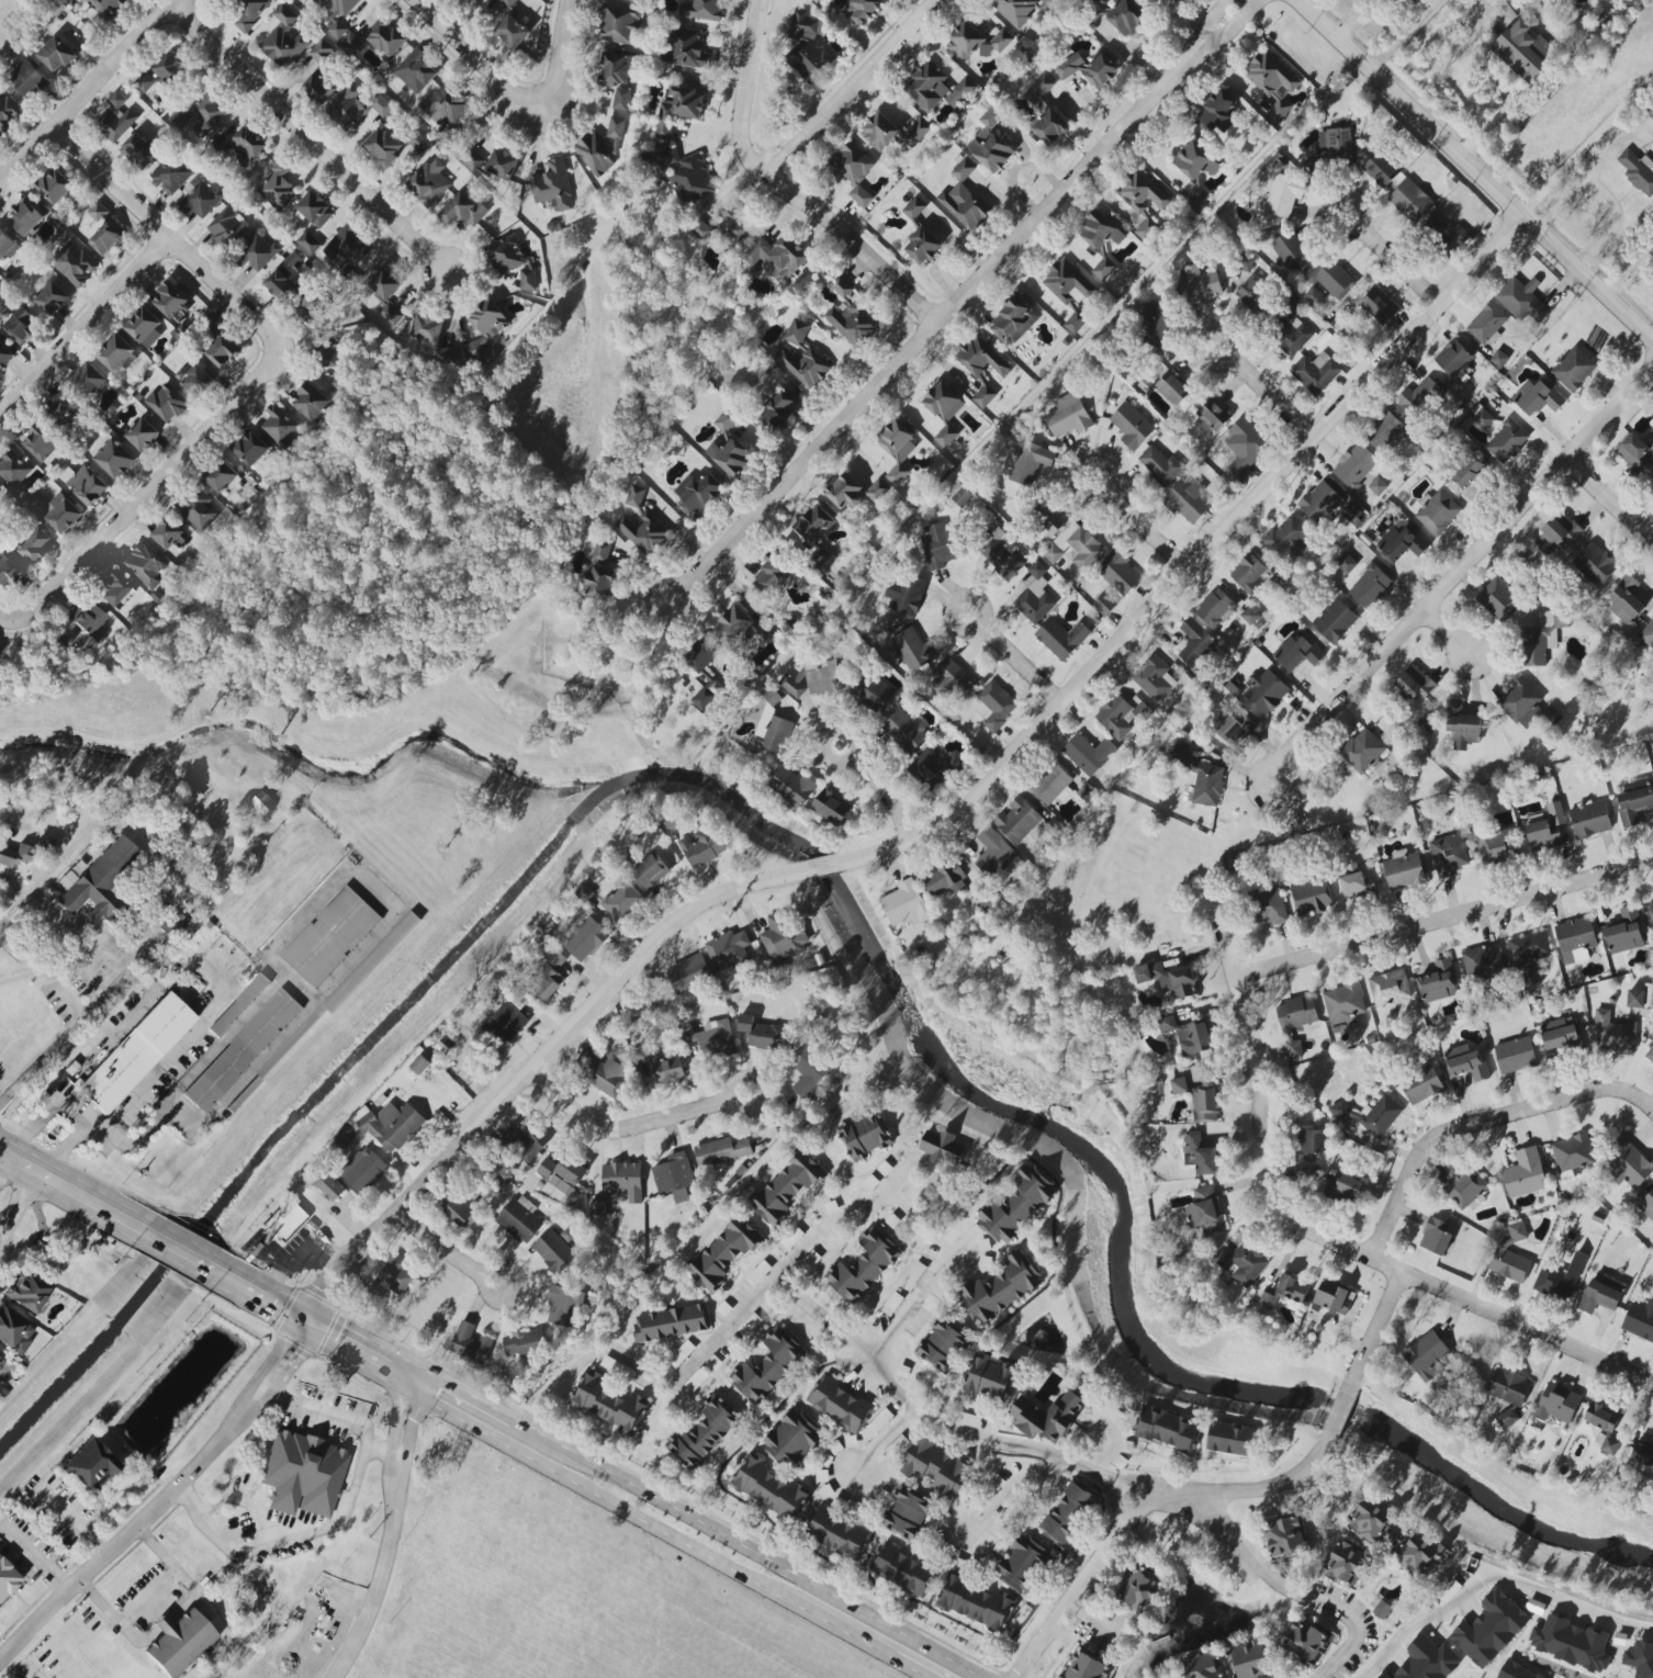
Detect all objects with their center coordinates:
building: (1173, 0)
building: (507, 3)
building: (106, 5)
building: (1021, 9)
building: (1507, 9)
building: (701, 10)
building: (862, 10)
building: (248, 13)
building: (335, 13)
building: (1125, 16)
road: (1351, 20)
building: (617, 25)
building: (511, 32)
building: (284, 37)
building: (386, 38)
building: (975, 42)
building: (351, 43)
building: (808, 46)
building: (687, 49)
building: (1522, 50)
building: (322, 53)
building: (56, 54)
road: (471, 59)
road: (566, 67)
building: (1066, 67)
building: (1100, 70)
building: (415, 71)
building: (160, 74)
building: (616, 76)
building: (26, 79)
building: (1271, 82)
building: (318, 87)
building: (926, 87)
building: (963, 89)
building: (1037, 89)
road: (853, 90)
road: (94, 98)
building: (446, 104)
building: (356, 108)
building: (677, 110)
building: (8, 111)
building: (1216, 113)
building: (203, 114)
building: (1651, 115)
building: (115, 117)
building: (1049, 127)
building: (879, 132)
building: (914, 133)
road: (312, 138)
building: (417, 140)
building: (989, 143)
building: (247, 145)
building: (382, 146)
road: (1586, 146)
building: (598, 149)
building: (1329, 149)
building: (138, 151)
building: (1195, 161)
building: (501, 166)
building: (1380, 170)
building: (852, 171)
road: (1472, 171)
building: (1638, 171)
building: (678, 174)
building: (169, 176)
building: (427, 184)
building: (277, 187)
building: (55, 188)
road: (778, 190)
road: (1605, 193)
building: (1283, 194)
building: (201, 200)
building: (965, 200)
building: (1143, 201)
building: (1410, 201)
building: (315, 209)
building: (913, 209)
building: (464, 210)
building: (25, 216)
road: (1363, 218)
building: (1432, 226)
building: (225, 227)
building: (726, 227)
building: (103, 230)
road: (168, 234)
building: (1455, 238)
building: (1101, 241)
building: (307, 243)
building: (7, 246)
building: (348, 246)
building: (922, 246)
building: (256, 251)
building: (1291, 252)
building: (774, 257)
building: (511, 262)
building: (74, 263)
road: (1399, 266)
road: (1628, 269)
building: (286, 278)
building: (1331, 279)
building: (1068, 283)
building: (383, 285)
building: (1199, 285)
building: (841, 286)
building: (1253, 295)
building: (1313, 296)
building: (52, 299)
building: (1521, 300)
building: (171, 301)
road: (955, 302)
building: (1377, 306)
building: (311, 307)
building: (390, 315)
building: (1013, 320)
building: (1075, 322)
building: (1487, 323)
building: (851, 324)
building: (20, 326)
building: (485, 326)
building: (1154, 326)
building: (143, 327)
road: (87, 328)
building: (1292, 337)
building: (430, 340)
road: (1235, 340)
building: (223, 351)
building: (4, 353)
building: (116, 354)
building: (798, 356)
building: (1451, 357)
building: (1498, 359)
building: (981, 367)
building: (1573, 370)
building: (331, 371)
building: (1315, 373)
building: (88, 380)
building: (196, 381)
building: (1172, 388)
building: (1418, 396)
building: (1537, 397)
road: (1273, 398)
building: (310, 402)
building: (166, 403)
building: (61, 407)
building: (1476, 409)
building: (777, 412)
building: (943, 412)
building: (1213, 415)
building: (1067, 416)
building: (1484, 418)
building: (724, 420)
building: (278, 424)
building: (1131, 426)
building: (1383, 431)
building: (142, 433)
building: (1506, 442)
building: (1246, 443)
building: (37, 444)
building: (249, 448)
building: (896, 449)
building: (1632, 452)
building: (112, 457)
building: (730, 457)
building: (1030, 462)
building: (1159, 465)
building: (1354, 465)
road: (1103, 468)
building: (13, 470)
building: (1468, 473)
building: (220, 476)
building: (1651, 482)
building: (85, 484)
building: (1377, 486)
road: (164, 491)
building: (876, 491)
building: (844, 492)
building: (697, 494)
building: (958, 495)
building: (1187, 500)
building: (1318, 502)
road: (1607, 503)
building: (199, 510)
building: (61, 513)
building: (1437, 513)
building: (1352, 514)
building: (1049, 518)
building: (641, 522)
building: (813, 523)
road: (1146, 528)
building: (1559, 531)
building: (166, 533)
building: (1285, 537)
building: (1365, 539)
building: (1399, 542)
building: (36, 545)
building: (936, 547)
building: (1075, 548)
building: (1001, 554)
road: (1195, 556)
building: (1595, 563)
building: (144, 564)
building: (1346, 564)
road: (1469, 564)
building: (775, 567)
building: (7, 570)
building: (599, 572)
building: (1248, 573)
building: (1118, 575)
building: (1282, 579)
building: (1369, 586)
building: (114, 590)
building: (907, 594)
building: (1034, 596)
building: (1497, 599)
building: (1626, 600)
building: (1103, 605)
building: (1214, 608)
road: (985, 615)
building: (1249, 616)
building: (86, 618)
road: (4, 620)
building: (1334, 621)
building: (1258, 624)
building: (741, 628)
road: (1448, 633)
building: (1648, 634)
building: (1061, 638)
building: (1194, 643)
building: (913, 650)
building: (1297, 653)
building: (700, 658)
road: (1019, 664)
building: (821, 677)
building: (1152, 678)
building: (952, 682)
building: (1414, 683)
building: (791, 686)
building: (870, 691)
building: (1264, 691)
building: (708, 694)
building: (1526, 706)
building: (994, 707)
building: (1117, 717)
building: (772, 725)
building: (1461, 725)
building: (1234, 729)
building: (903, 730)
road: (853, 737)
building: (1183, 737)
building: (1362, 752)
building: (1088, 754)
building: (934, 767)
road: (1278, 767)
building: (1206, 784)
building: (1052, 785)
building: (1189, 785)
building: (791, 787)
road: (884, 796)
building: (184, 800)
building: (1633, 800)
building: (261, 802)
building: (831, 808)
building: (1554, 813)
building: (1589, 820)
building: (1022, 821)
building: (1541, 835)
building: (45, 843)
building: (701, 846)
building: (1497, 846)
building: (991, 852)
road: (64, 854)
building: (1448, 854)
building: (14, 855)
road: (819, 867)
building: (1403, 869)
building: (651, 870)
building: (944, 880)
building: (101, 881)
building: (1356, 885)
building: (1309, 897)
building: (621, 900)
building: (904, 904)
building: (1269, 906)
building: (1651, 909)
road: (1442, 917)
building: (171, 925)
building: (207, 927)
building: (1624, 932)
building: (331, 937)
road: (106, 938)
building: (783, 938)
building: (585, 939)
building: (1574, 939)
building: (1528, 949)
building: (728, 950)
road: (350, 961)
building: (1482, 962)
road: (44, 972)
building: (687, 973)
building: (1628, 978)
building: (1168, 979)
building: (1438, 982)
building: (1388, 988)
road: (609, 989)
building: (336, 998)
building: (1640, 998)
building: (1343, 1004)
building: (1549, 1004)
building: (238, 1005)
building: (507, 1021)
building: (1293, 1022)
road: (78, 1023)
building: (761, 1034)
building: (1559, 1034)
building: (1612, 1034)
building: (1188, 1035)
building: (715, 1039)
building: (241, 1051)
building: (135, 1054)
building: (1650, 1055)
building: (1514, 1056)
road: (203, 1058)
building: (1465, 1062)
building: (419, 1066)
building: (71, 1069)
building: (666, 1069)
building: (808, 1070)
road: (151, 1072)
building: (607, 1074)
building: (1178, 1085)
building: (1421, 1085)
building: (1204, 1104)
road: (743, 1113)
building: (1370, 1115)
road: (1476, 1120)
road: (30, 1126)
building: (392, 1126)
road: (617, 1129)
building: (864, 1136)
road: (74, 1137)
building: (527, 1138)
building: (942, 1148)
building: (721, 1151)
building: (1199, 1155)
building: (1572, 1156)
building: (1627, 1164)
building: (362, 1169)
building: (570, 1171)
building: (1523, 1173)
building: (674, 1176)
road: (10, 1178)
building: (622, 1180)
building: (556, 1185)
building: (328, 1186)
building: (787, 1187)
building: (1342, 1189)
building: (1465, 1189)
road: (77, 1190)
building: (1016, 1205)
building: (1646, 1205)
building: (597, 1208)
building: (1202, 1212)
building: (1597, 1217)
building: (519, 1219)
building: (283, 1220)
road: (415, 1226)
road: (376, 1228)
road: (1303, 1229)
building: (1435, 1237)
road: (191, 1250)
building: (553, 1251)
building: (723, 1253)
building: (1510, 1254)
road: (462, 1260)
building: (1240, 1262)
building: (863, 1266)
road: (511, 1272)
road: (236, 1275)
building: (393, 1279)
building: (1554, 1282)
road: (761, 1284)
building: (1001, 1287)
building: (26, 1292)
building: (1285, 1292)
building: (1600, 1293)
building: (1332, 1298)
road: (280, 1300)
road: (914, 1303)
building: (563, 1306)
building: (1640, 1320)
building: (670, 1322)
road: (1375, 1328)
building: (14, 1331)
road: (351, 1341)
building: (470, 1343)
building: (522, 1343)
building: (942, 1345)
building: (1427, 1355)
building: (1, 1363)
building: (766, 1366)
road: (402, 1371)
building: (988, 1378)
building: (1507, 1394)
road: (901, 1399)
road: (460, 1404)
building: (609, 1404)
building: (837, 1404)
building: (1556, 1404)
road: (1339, 1408)
road: (324, 1416)
building: (1046, 1417)
building: (1603, 1427)
building: (1167, 1429)
building: (702, 1432)
building: (1228, 1438)
building: (791, 1440)
road: (879, 1440)
road: (384, 1450)
building: (1642, 1461)
building: (90, 1463)
building: (935, 1467)
road: (1042, 1474)
building: (303, 1475)
road: (295, 1486)
building: (767, 1488)
road: (245, 1489)
road: (323, 1494)
road: (165, 1500)
road: (1137, 1502)
building: (906, 1513)
building: (1067, 1514)
building: (1370, 1519)
road: (396, 1532)
road: (282, 1534)
building: (837, 1534)
building: (1284, 1538)
road: (694, 1547)
road: (745, 1549)
building: (1420, 1553)
building: (1024, 1563)
building: (1347, 1563)
building: (901, 1570)
building: (7, 1579)
road: (1496, 1588)
building: (1138, 1589)
road: (1290, 1596)
road: (156, 1600)
building: (976, 1603)
building: (1381, 1609)
road: (1093, 1614)
building: (1489, 1629)
building: (1306, 1641)
building: (179, 1642)
building: (1570, 1643)
building: (1640, 1658)
building: (1249, 1660)
building: (1427, 1660)
building: (1203, 1665)
road: (910, 1667)
building: (1084, 1667)
building: (1515, 1671)

